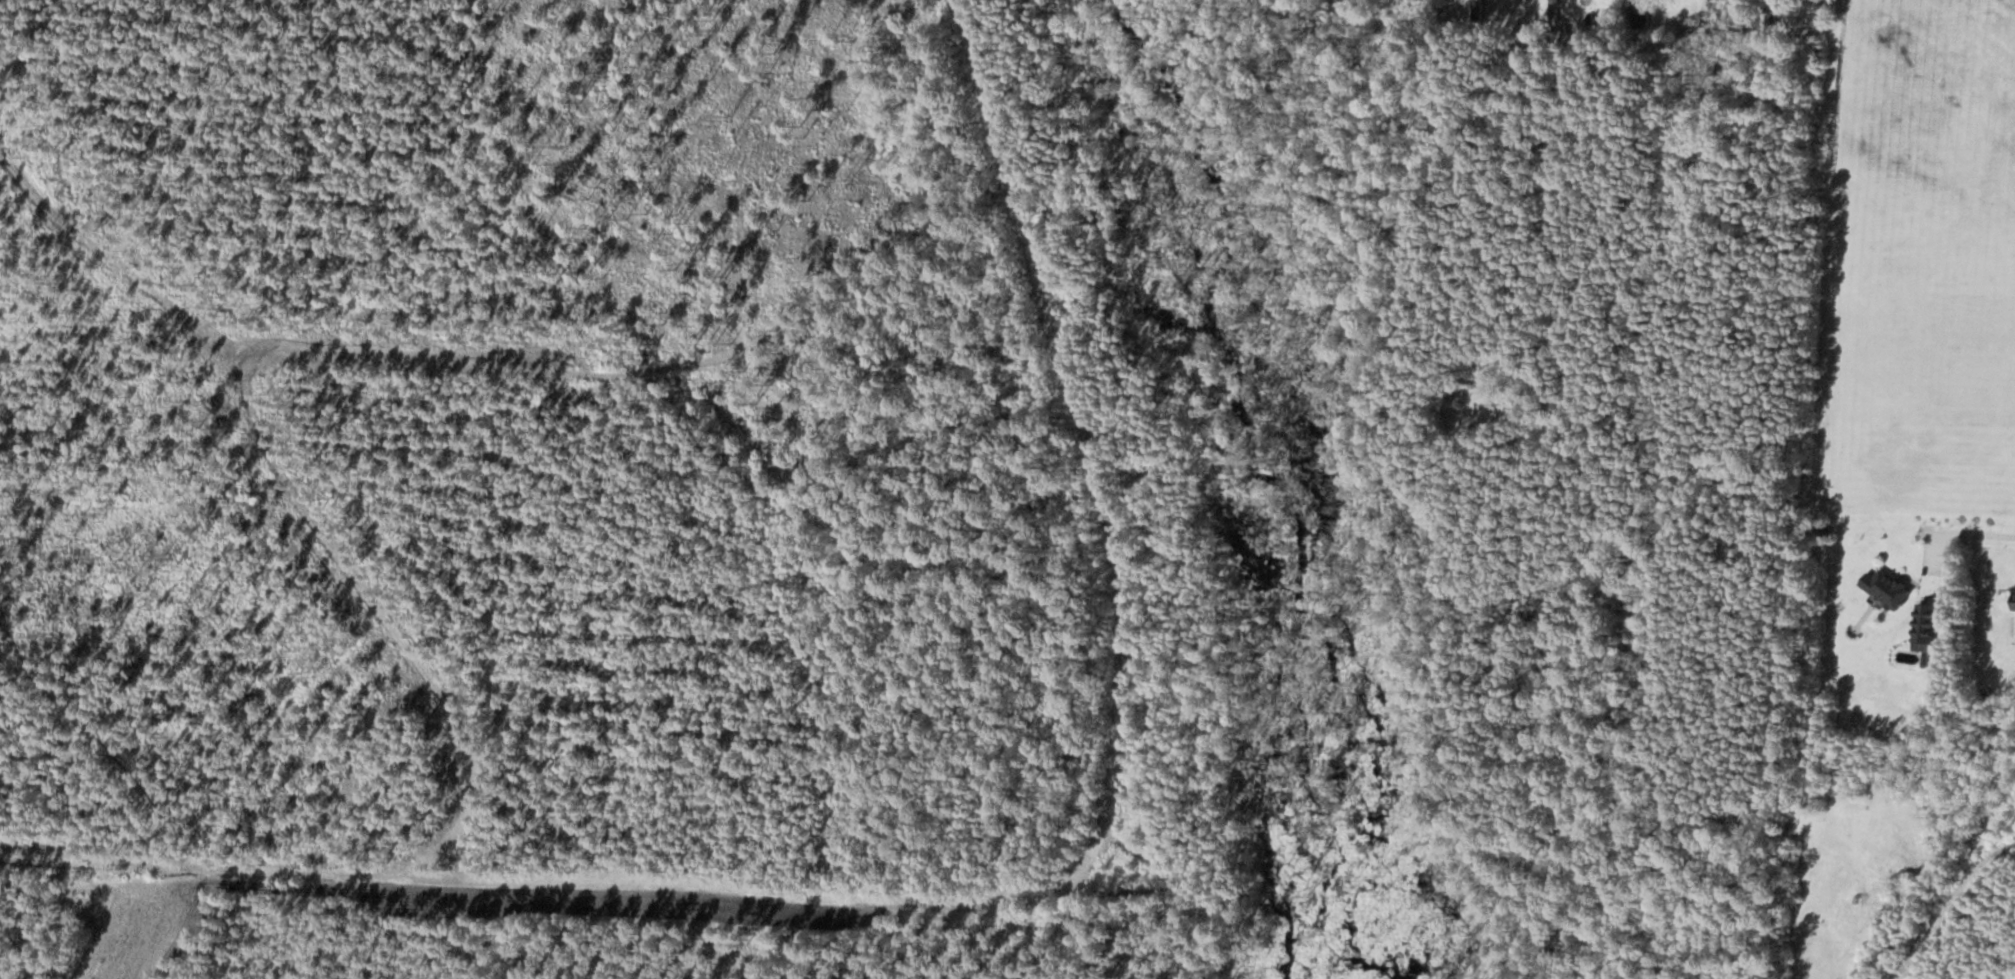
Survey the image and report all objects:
building: (1522, 11)
road: (1836, 12)
building: (1639, 13)
road: (1698, 32)
road: (1949, 533)
building: (1885, 588)
building: (2013, 598)
building: (1923, 627)
road: (991, 895)
road: (1950, 903)
crop: (131, 923)

